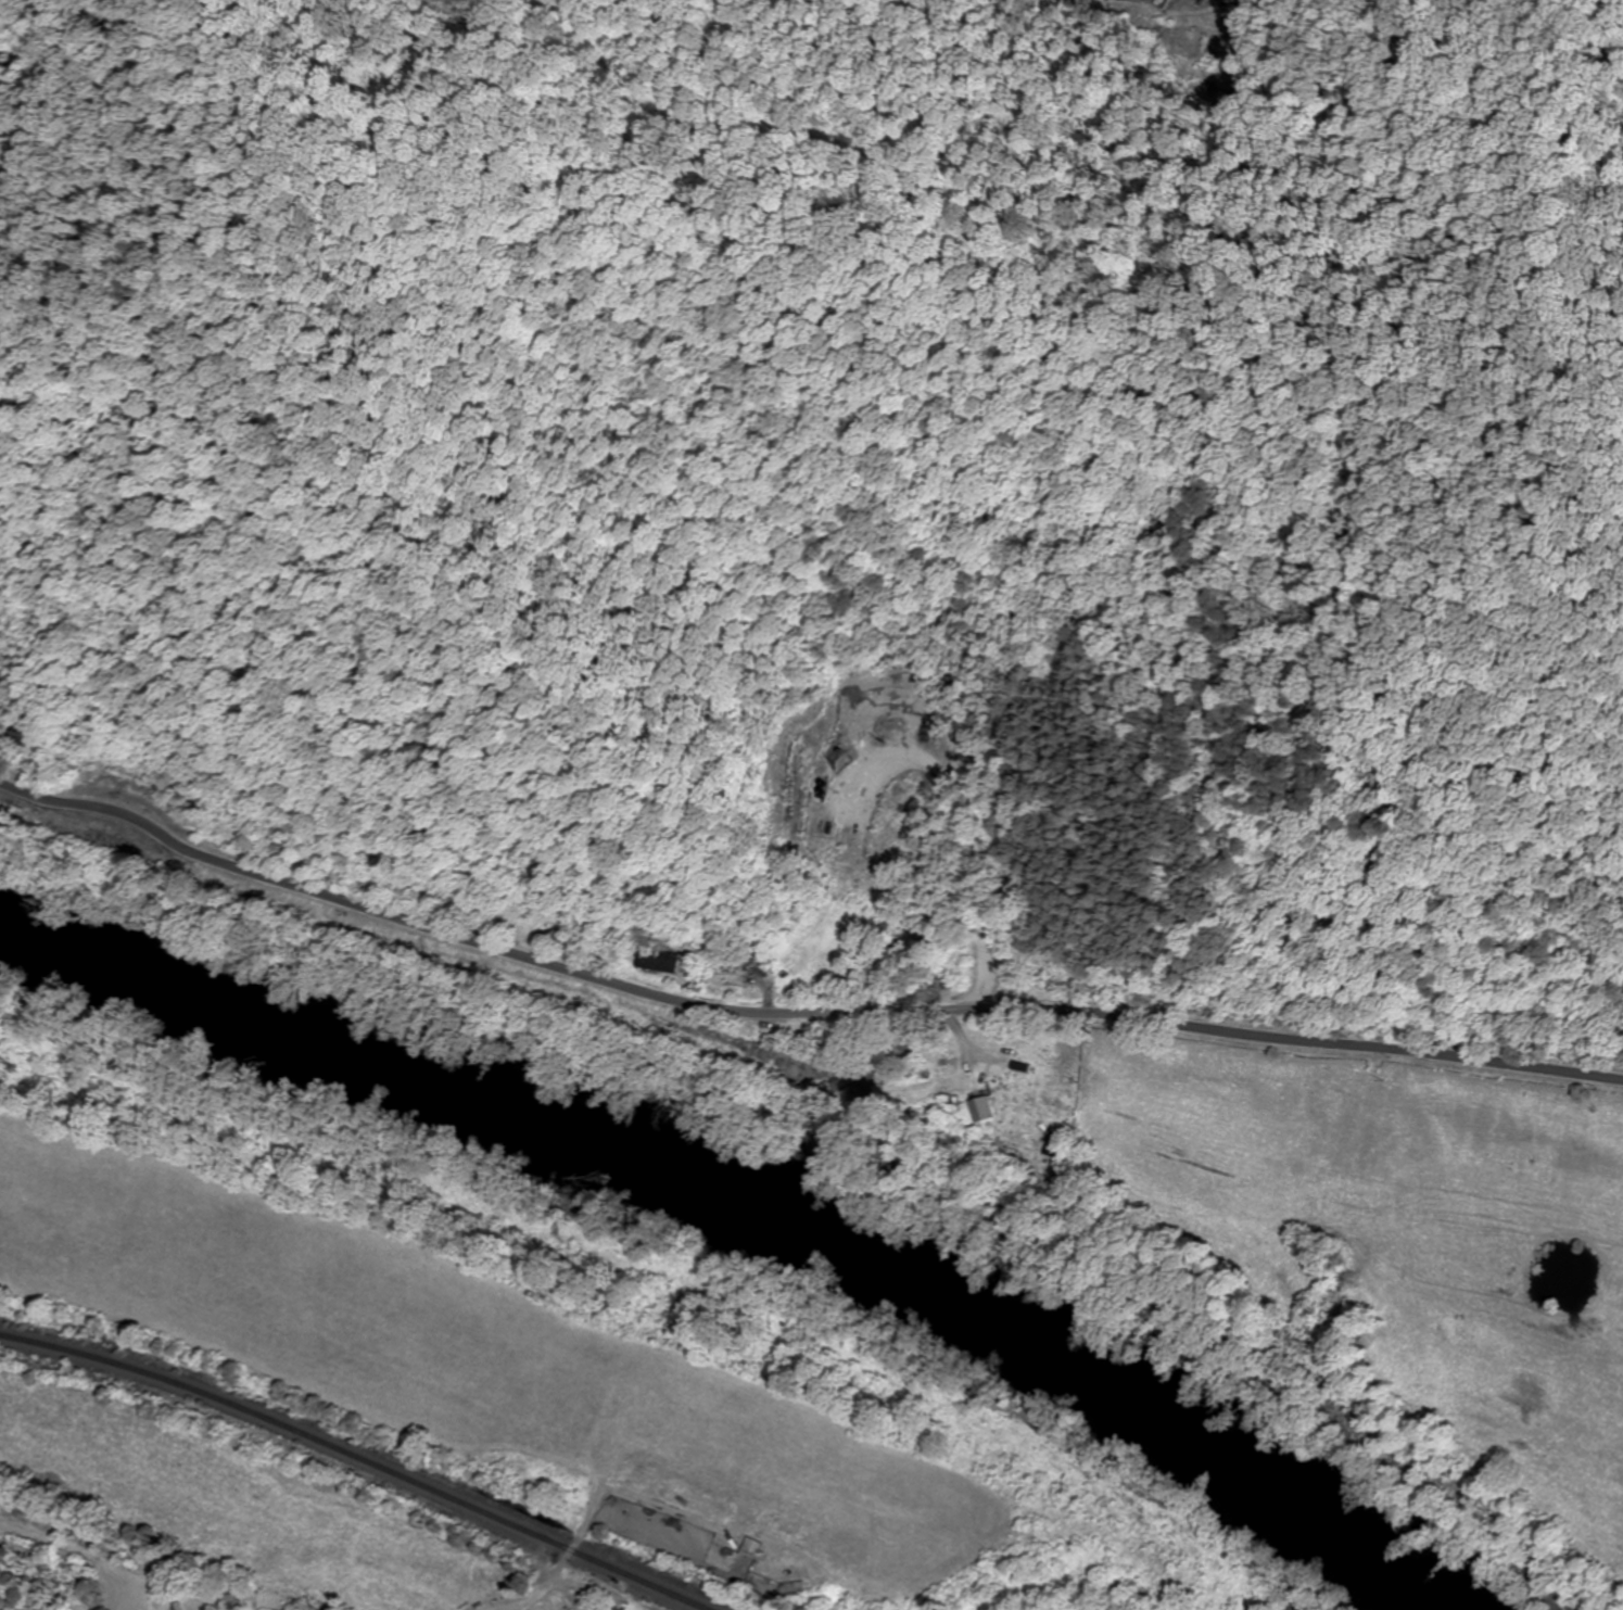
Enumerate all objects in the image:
building: (658, 960)
building: (731, 973)
road: (796, 1013)
building: (979, 1112)
river: (740, 1203)
railway: (357, 1457)

